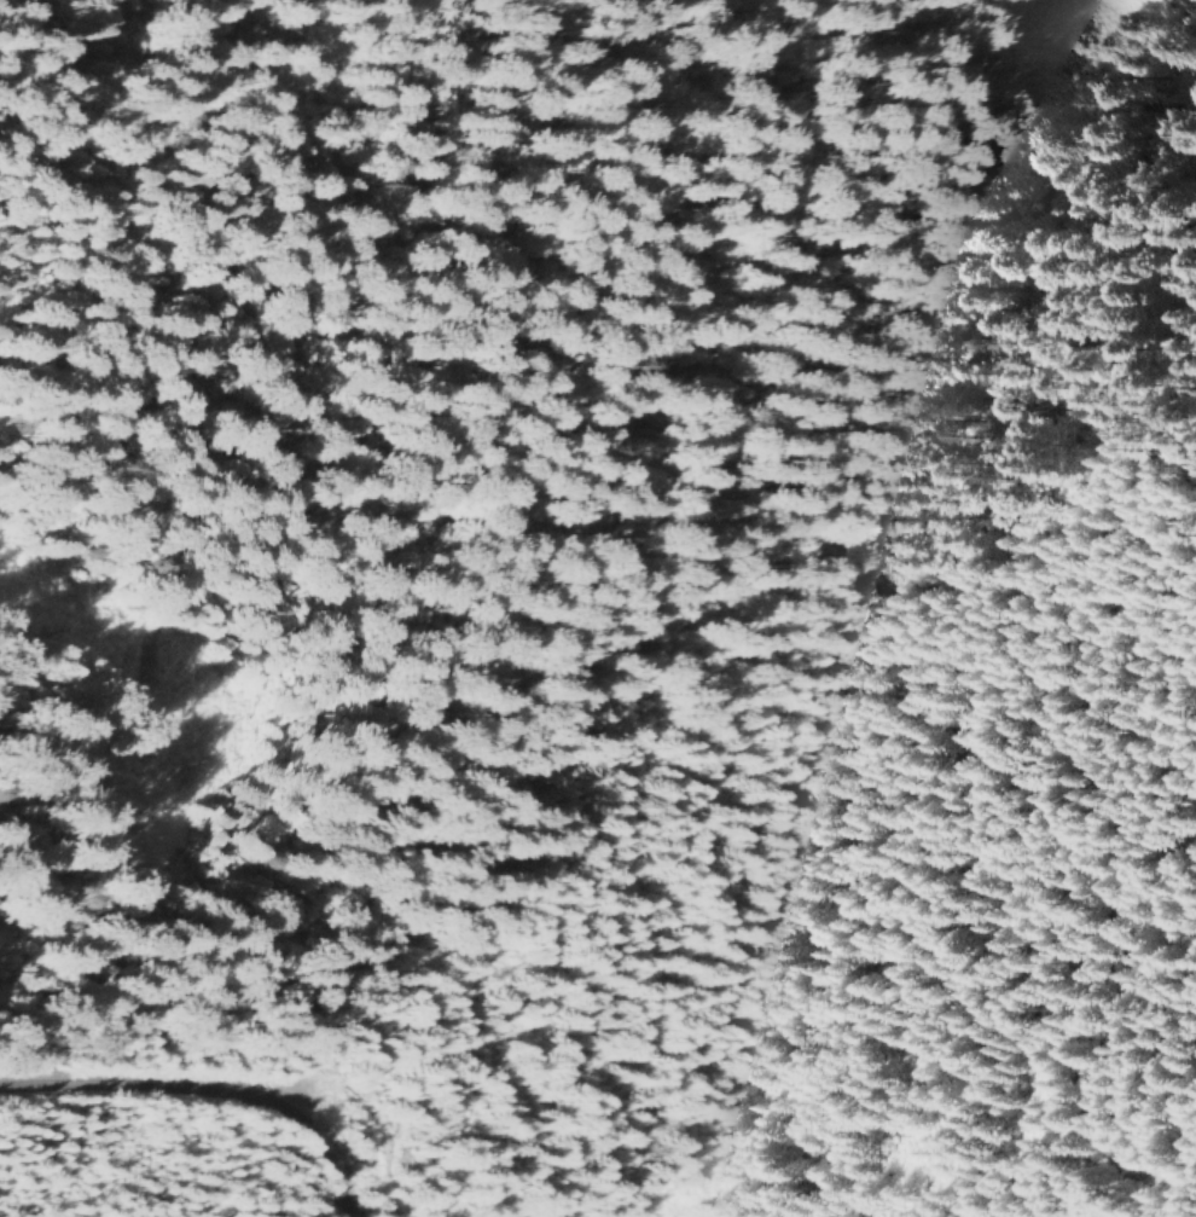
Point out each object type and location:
road: (202, 1093)

